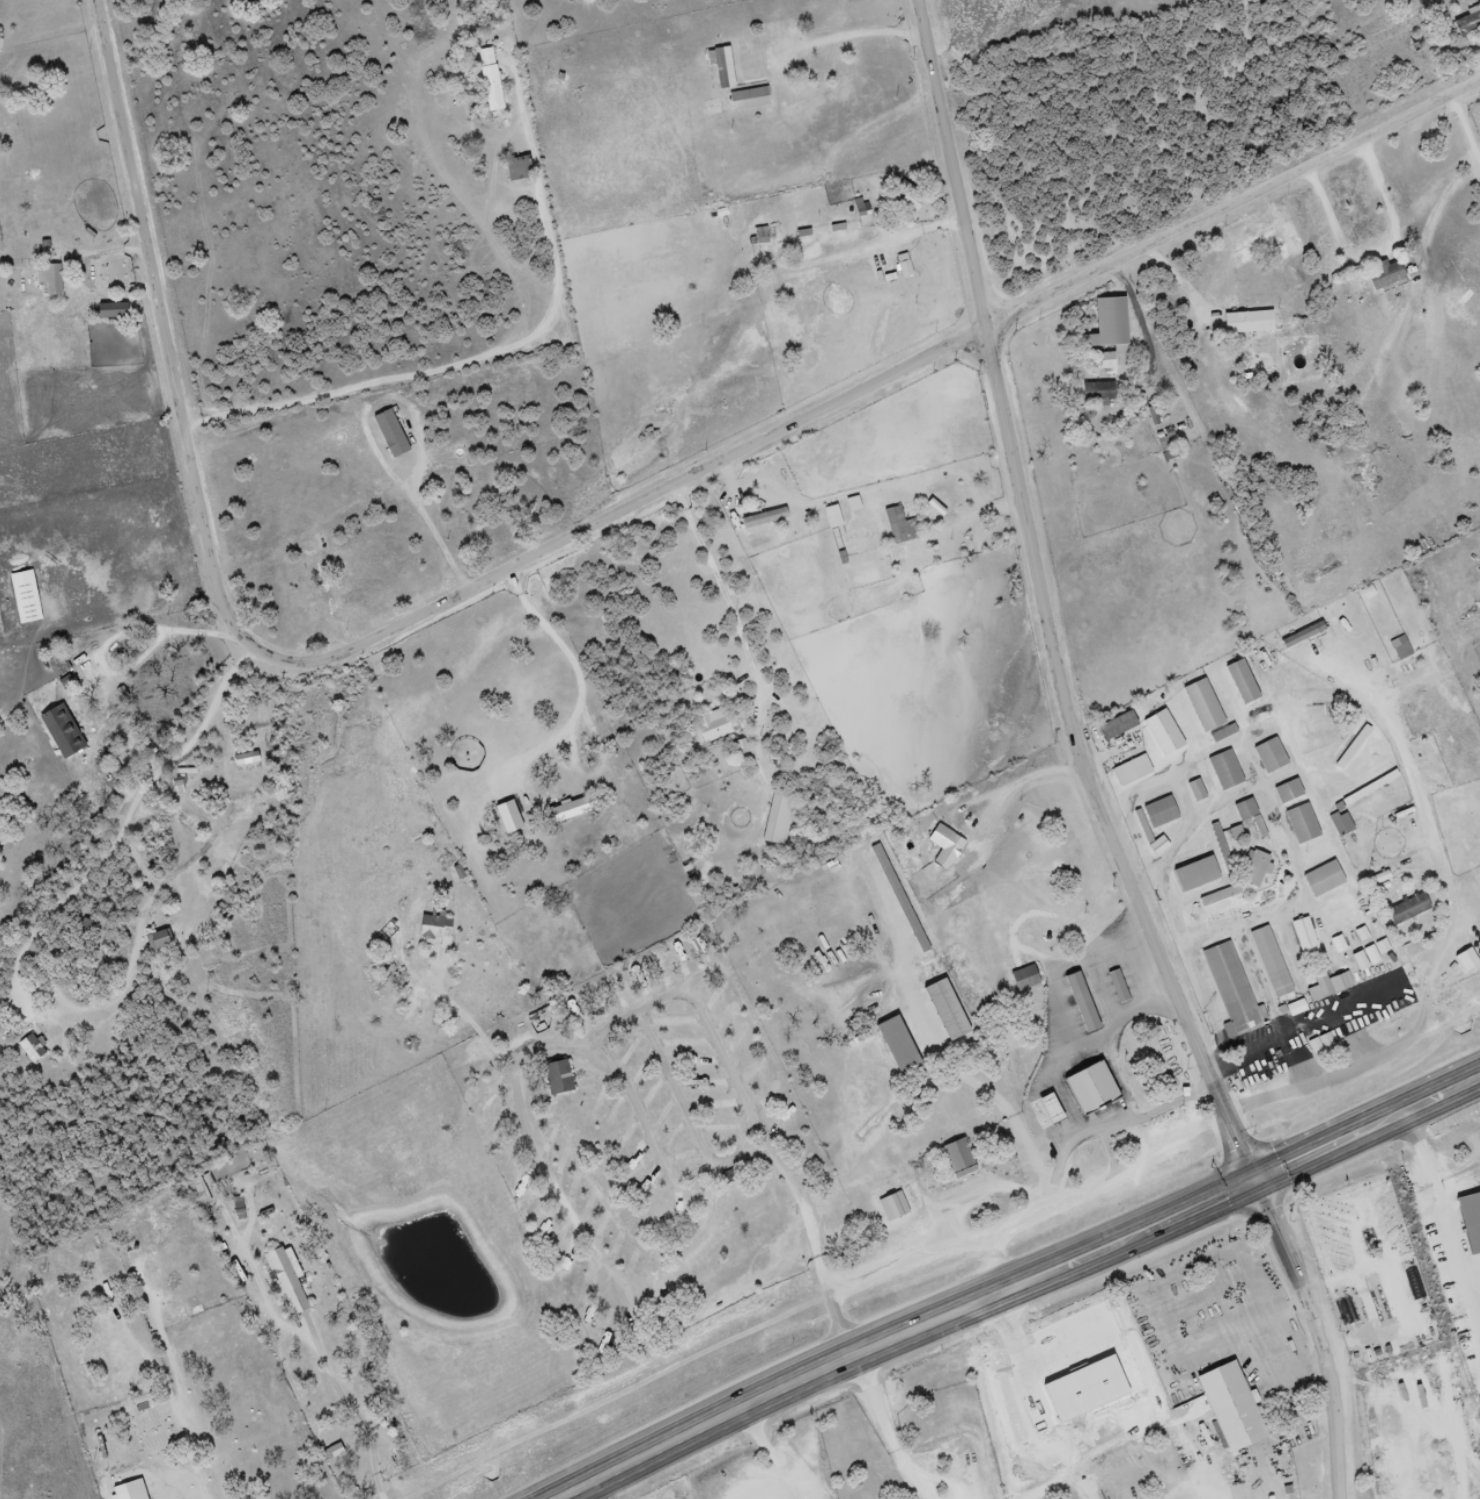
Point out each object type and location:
building: (1371, 0)
road: (717, 3)
building: (1466, 23)
building: (718, 70)
building: (487, 80)
building: (745, 99)
building: (516, 168)
building: (907, 202)
building: (759, 235)
building: (45, 250)
building: (1382, 274)
building: (50, 279)
building: (108, 311)
building: (1245, 322)
building: (1106, 333)
road: (480, 363)
building: (1097, 394)
building: (1151, 415)
building: (388, 434)
building: (1163, 445)
building: (762, 518)
building: (899, 526)
road: (569, 537)
building: (353, 594)
road: (1041, 604)
building: (1398, 648)
building: (55, 664)
building: (1239, 682)
building: (1201, 705)
building: (709, 726)
building: (1114, 726)
building: (60, 732)
building: (1268, 756)
building: (1223, 770)
building: (247, 773)
building: (173, 785)
building: (1194, 791)
building: (1286, 792)
building: (1243, 810)
building: (566, 811)
building: (1158, 812)
building: (776, 818)
building: (1299, 824)
building: (1339, 824)
building: (1234, 835)
building: (943, 847)
building: (1220, 849)
building: (1252, 868)
building: (768, 873)
building: (1193, 874)
building: (1321, 879)
building: (1217, 895)
building: (1404, 909)
building: (432, 927)
building: (1303, 938)
building: (154, 941)
building: (1268, 961)
building: (1022, 979)
building: (1329, 983)
building: (1115, 987)
building: (612, 988)
building: (1230, 989)
building: (1078, 1003)
building: (943, 1011)
building: (896, 1047)
building: (29, 1049)
building: (554, 1077)
building: (1100, 1094)
building: (1045, 1111)
building: (1058, 1114)
gas station: (1058, 1114)
building: (956, 1159)
road: (1284, 1169)
traffic signals: (1253, 1184)
building: (895, 1207)
road: (1447, 1215)
building: (1469, 1220)
building: (285, 1279)
road: (1315, 1336)
road: (821, 1373)
building: (1239, 1414)
building: (333, 1450)

